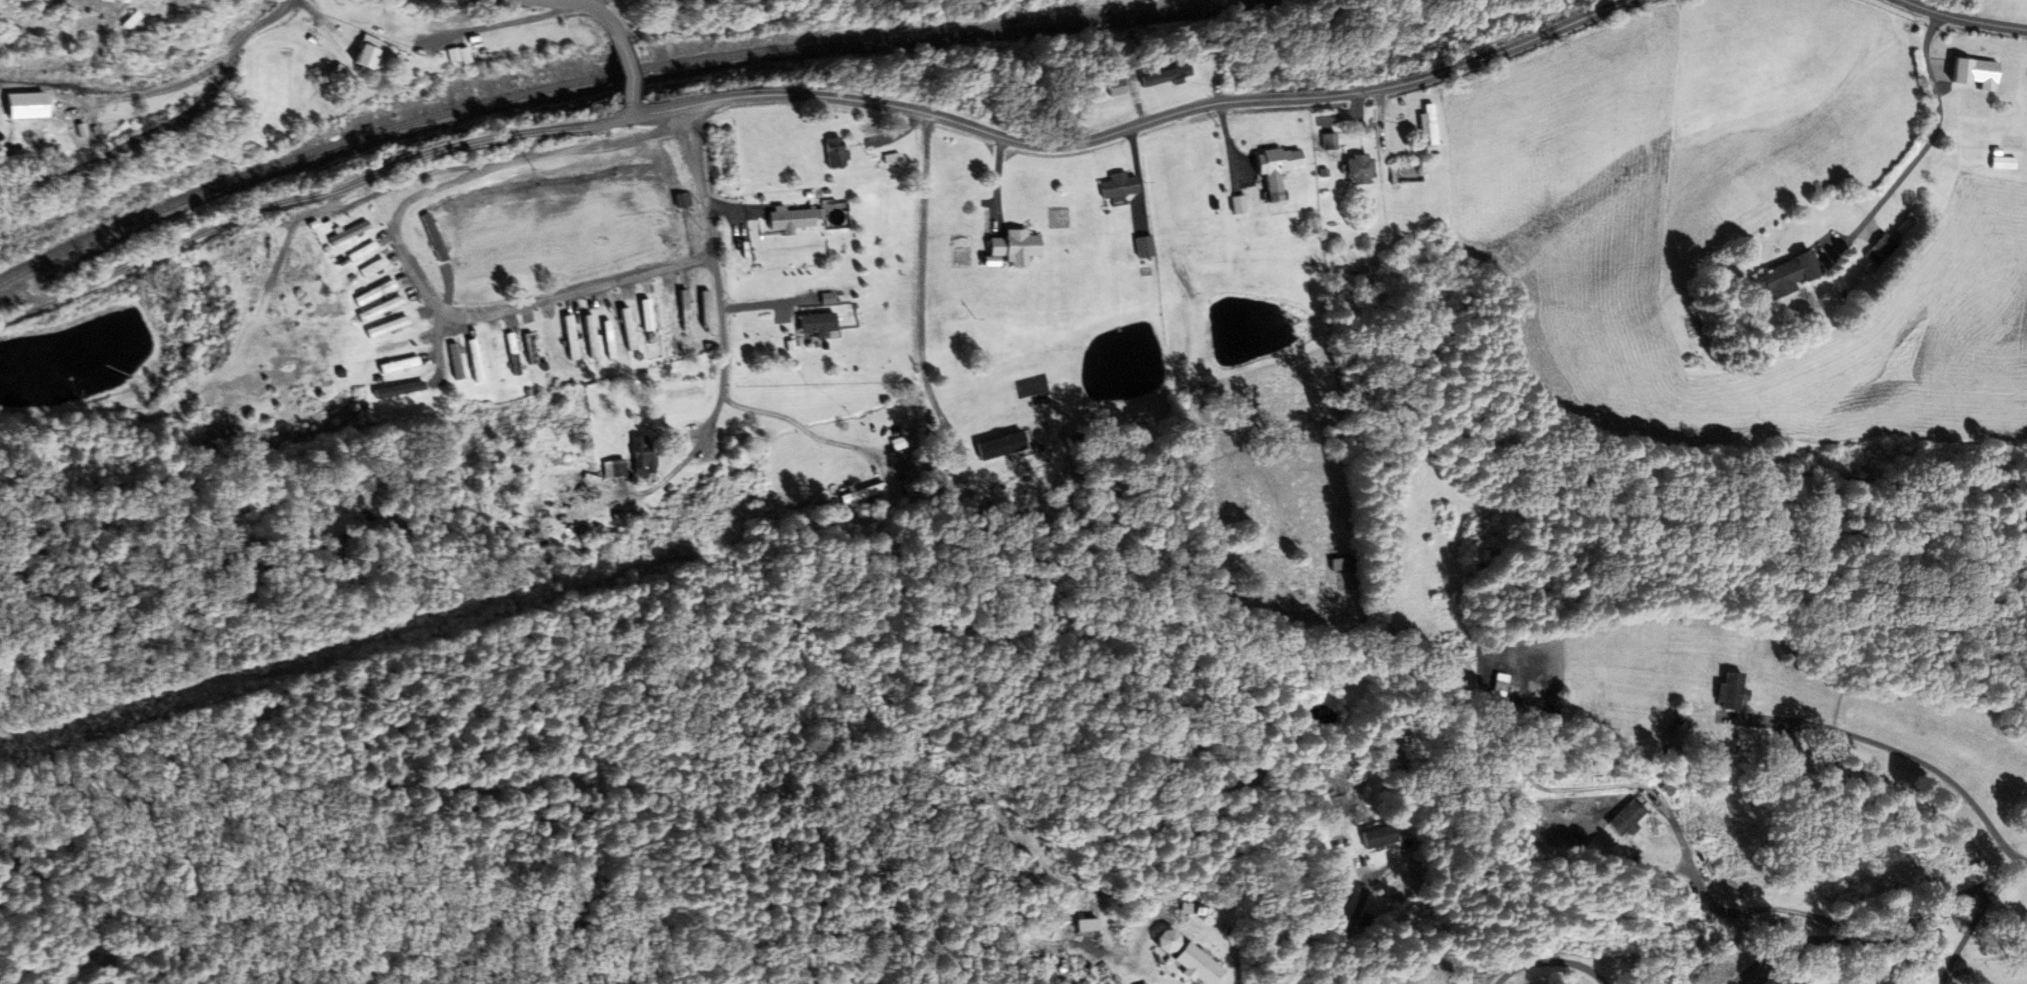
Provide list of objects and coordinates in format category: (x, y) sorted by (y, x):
road: (589, 8)
road: (1964, 16)
building: (352, 53)
building: (444, 56)
road: (617, 69)
building: (1971, 73)
railway: (609, 74)
building: (1159, 78)
building: (1107, 87)
road: (154, 89)
building: (0, 108)
road: (626, 109)
road: (164, 123)
road: (1131, 124)
building: (1425, 124)
building: (76, 134)
building: (830, 152)
building: (887, 158)
building: (1999, 162)
building: (1266, 164)
building: (1354, 168)
road: (450, 179)
building: (1115, 185)
road: (327, 189)
building: (678, 200)
building: (1234, 204)
building: (780, 219)
building: (343, 233)
road: (713, 242)
building: (1140, 246)
building: (1010, 247)
building: (354, 253)
building: (369, 268)
building: (1783, 275)
road: (577, 289)
building: (371, 293)
road: (18, 299)
building: (700, 305)
building: (378, 308)
building: (681, 310)
road: (18, 311)
building: (663, 313)
building: (644, 315)
building: (812, 323)
building: (624, 324)
building: (389, 325)
building: (589, 336)
building: (569, 337)
building: (606, 339)
building: (548, 342)
building: (391, 347)
building: (528, 348)
building: (511, 353)
building: (493, 357)
building: (473, 360)
building: (454, 361)
building: (394, 365)
building: (399, 384)
building: (682, 394)
road: (716, 409)
building: (639, 458)
building: (613, 468)
building: (854, 495)
building: (1339, 564)
building: (1496, 684)
building: (1730, 691)
building: (1624, 818)
building: (1377, 836)
road: (1966, 932)
road: (1882, 936)
building: (1184, 957)
road: (1548, 962)

